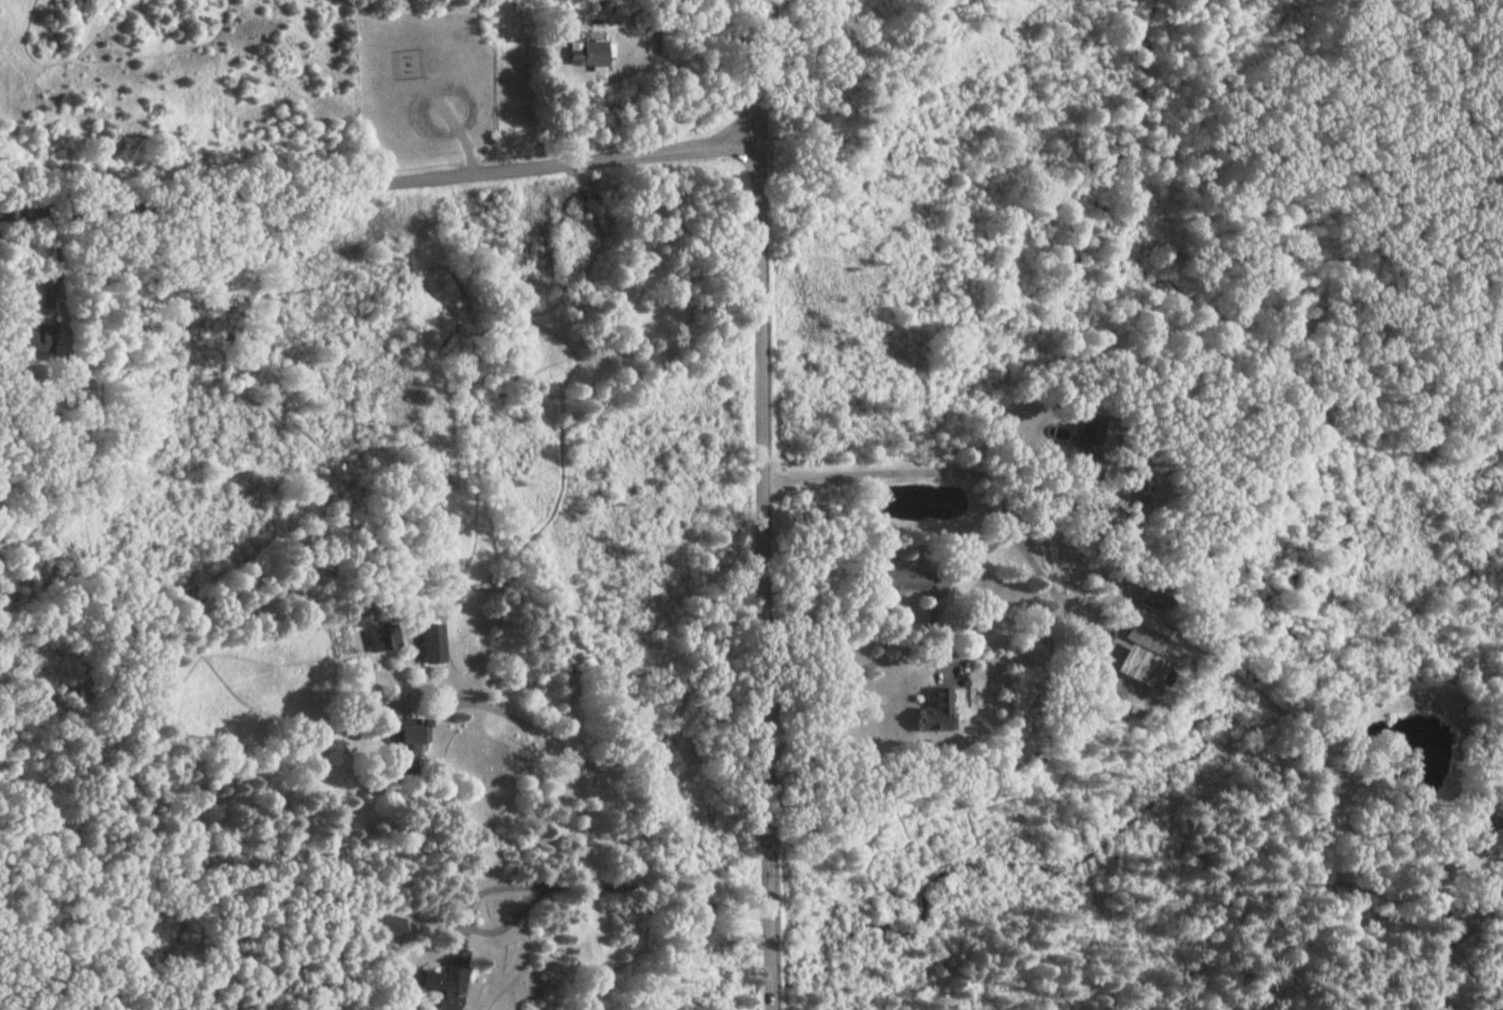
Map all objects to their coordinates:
building: (585, 54)
road: (378, 184)
road: (60, 263)
building: (36, 335)
building: (75, 389)
building: (1086, 446)
road: (878, 480)
building: (1136, 492)
road: (766, 504)
road: (1119, 550)
building: (899, 581)
road: (949, 581)
building: (1155, 601)
building: (1147, 633)
building: (381, 638)
building: (429, 643)
road: (918, 659)
building: (1137, 667)
building: (932, 711)
building: (405, 744)
road: (643, 756)
building: (1488, 837)
road: (560, 899)
building: (387, 925)
building: (445, 981)

